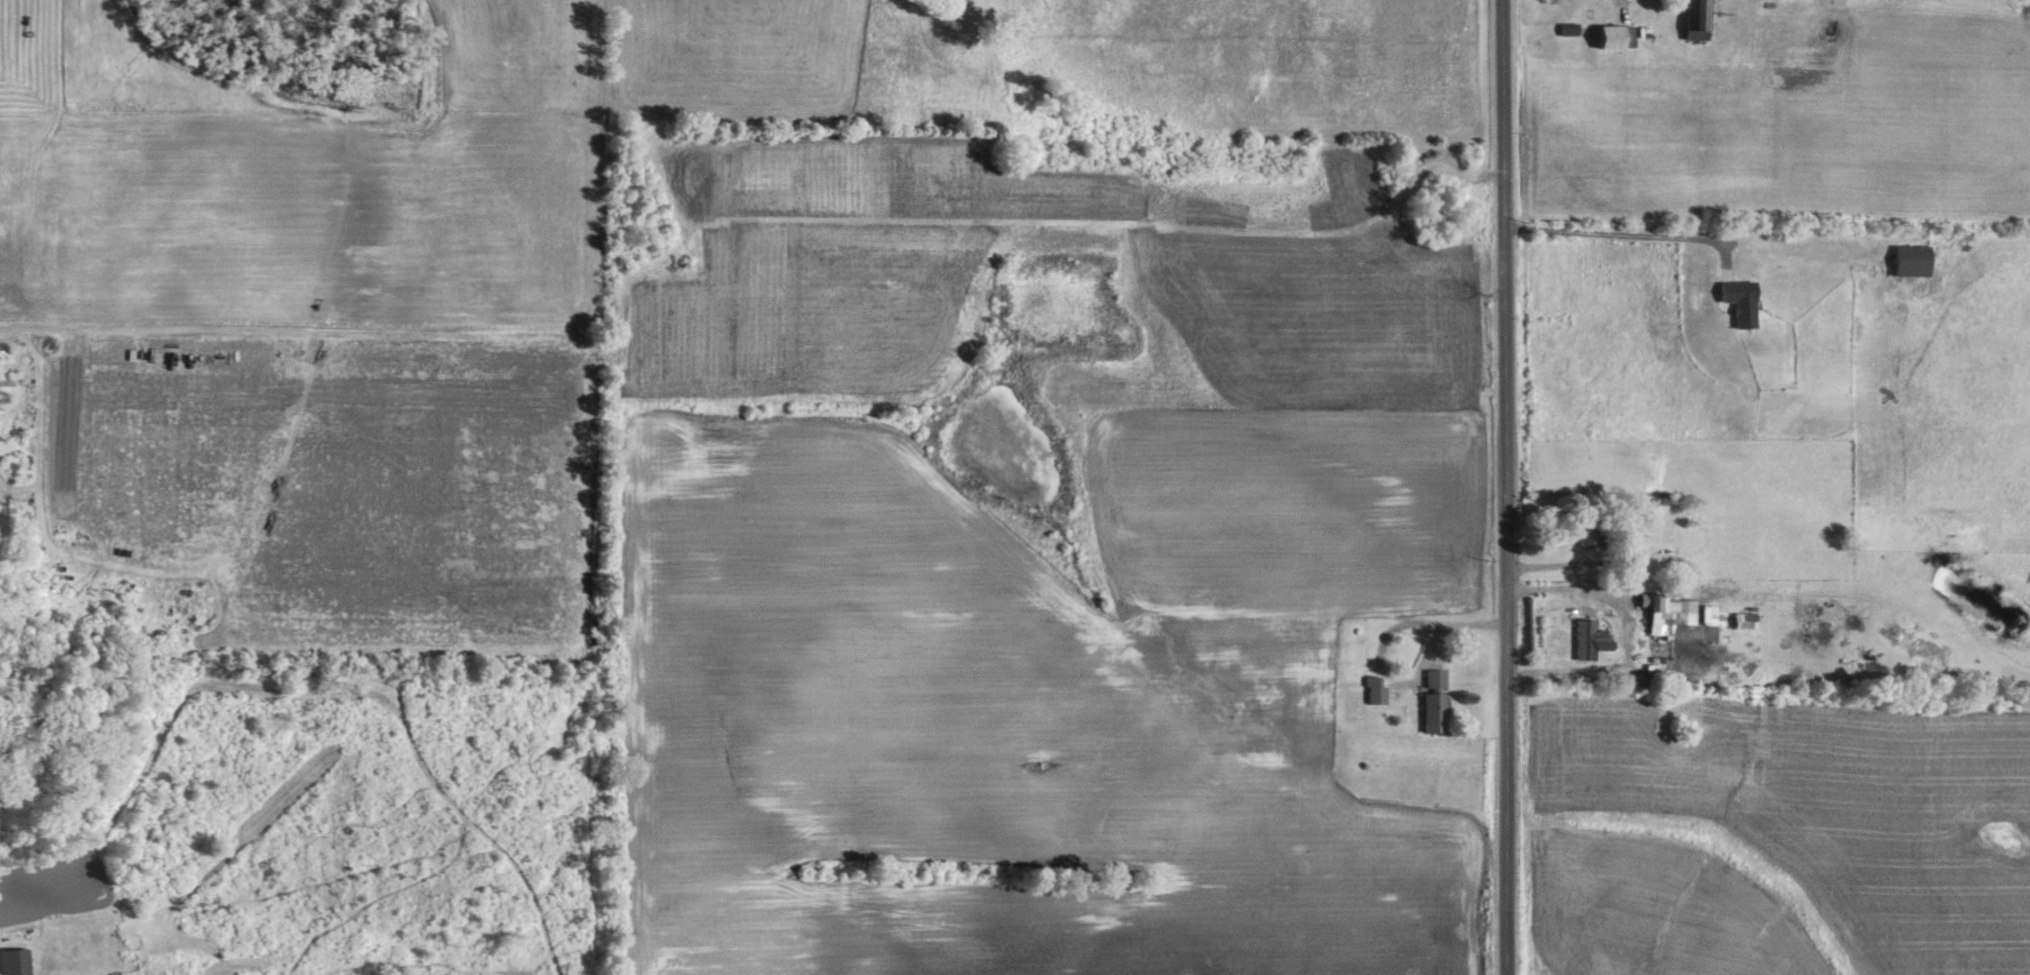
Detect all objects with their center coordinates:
building: (1694, 19)
building: (1566, 28)
building: (1611, 35)
road: (1617, 231)
building: (1906, 260)
building: (1732, 301)
road: (1509, 487)
road: (1568, 561)
road: (1606, 585)
building: (1706, 615)
building: (1739, 620)
building: (1583, 639)
building: (1430, 678)
building: (1370, 690)
building: (1428, 711)
building: (11, 961)

